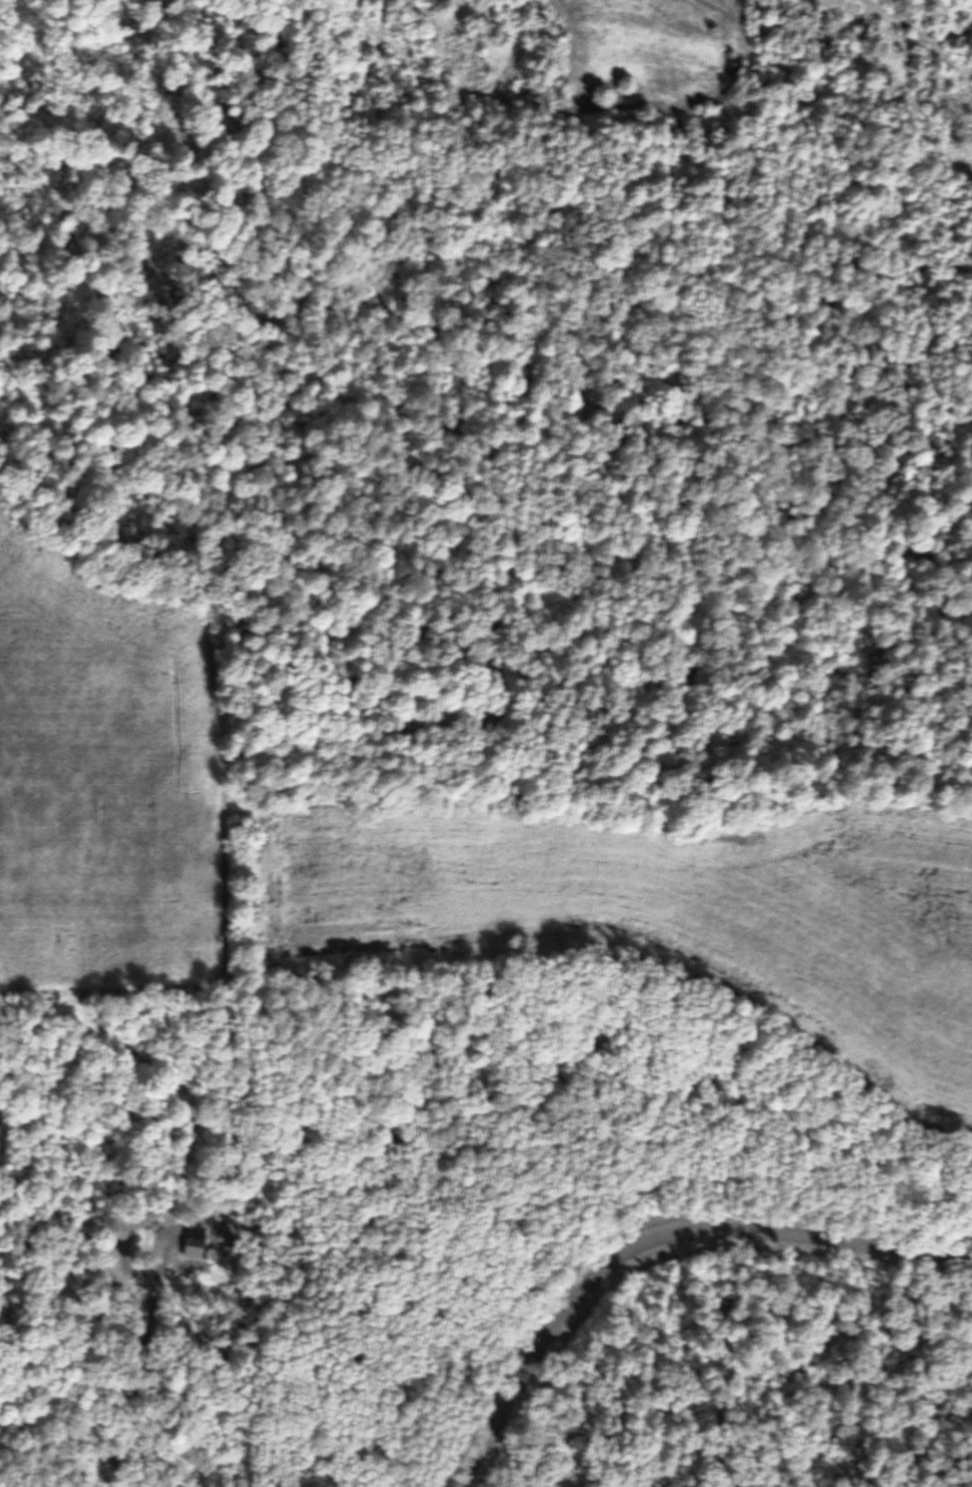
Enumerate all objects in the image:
road: (654, 1239)

